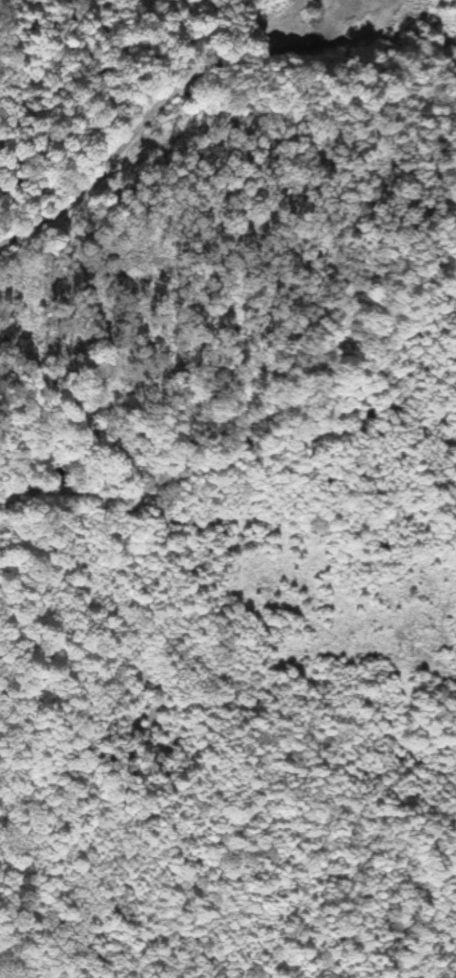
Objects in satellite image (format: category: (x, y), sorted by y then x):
road: (421, 123)
road: (15, 255)

